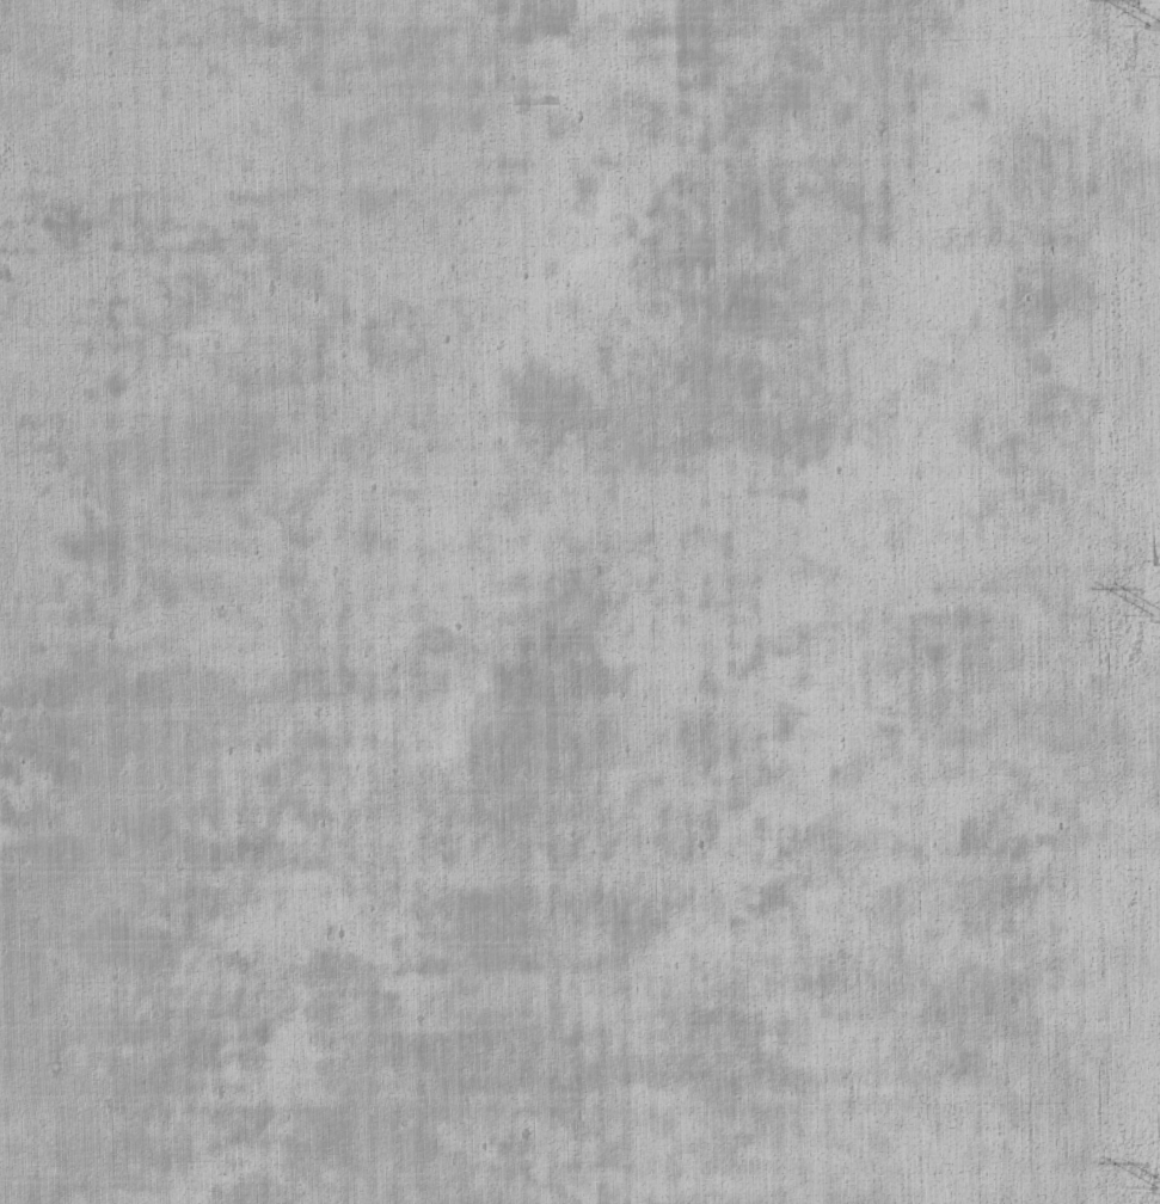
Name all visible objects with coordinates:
power tower: (1159, 25)

